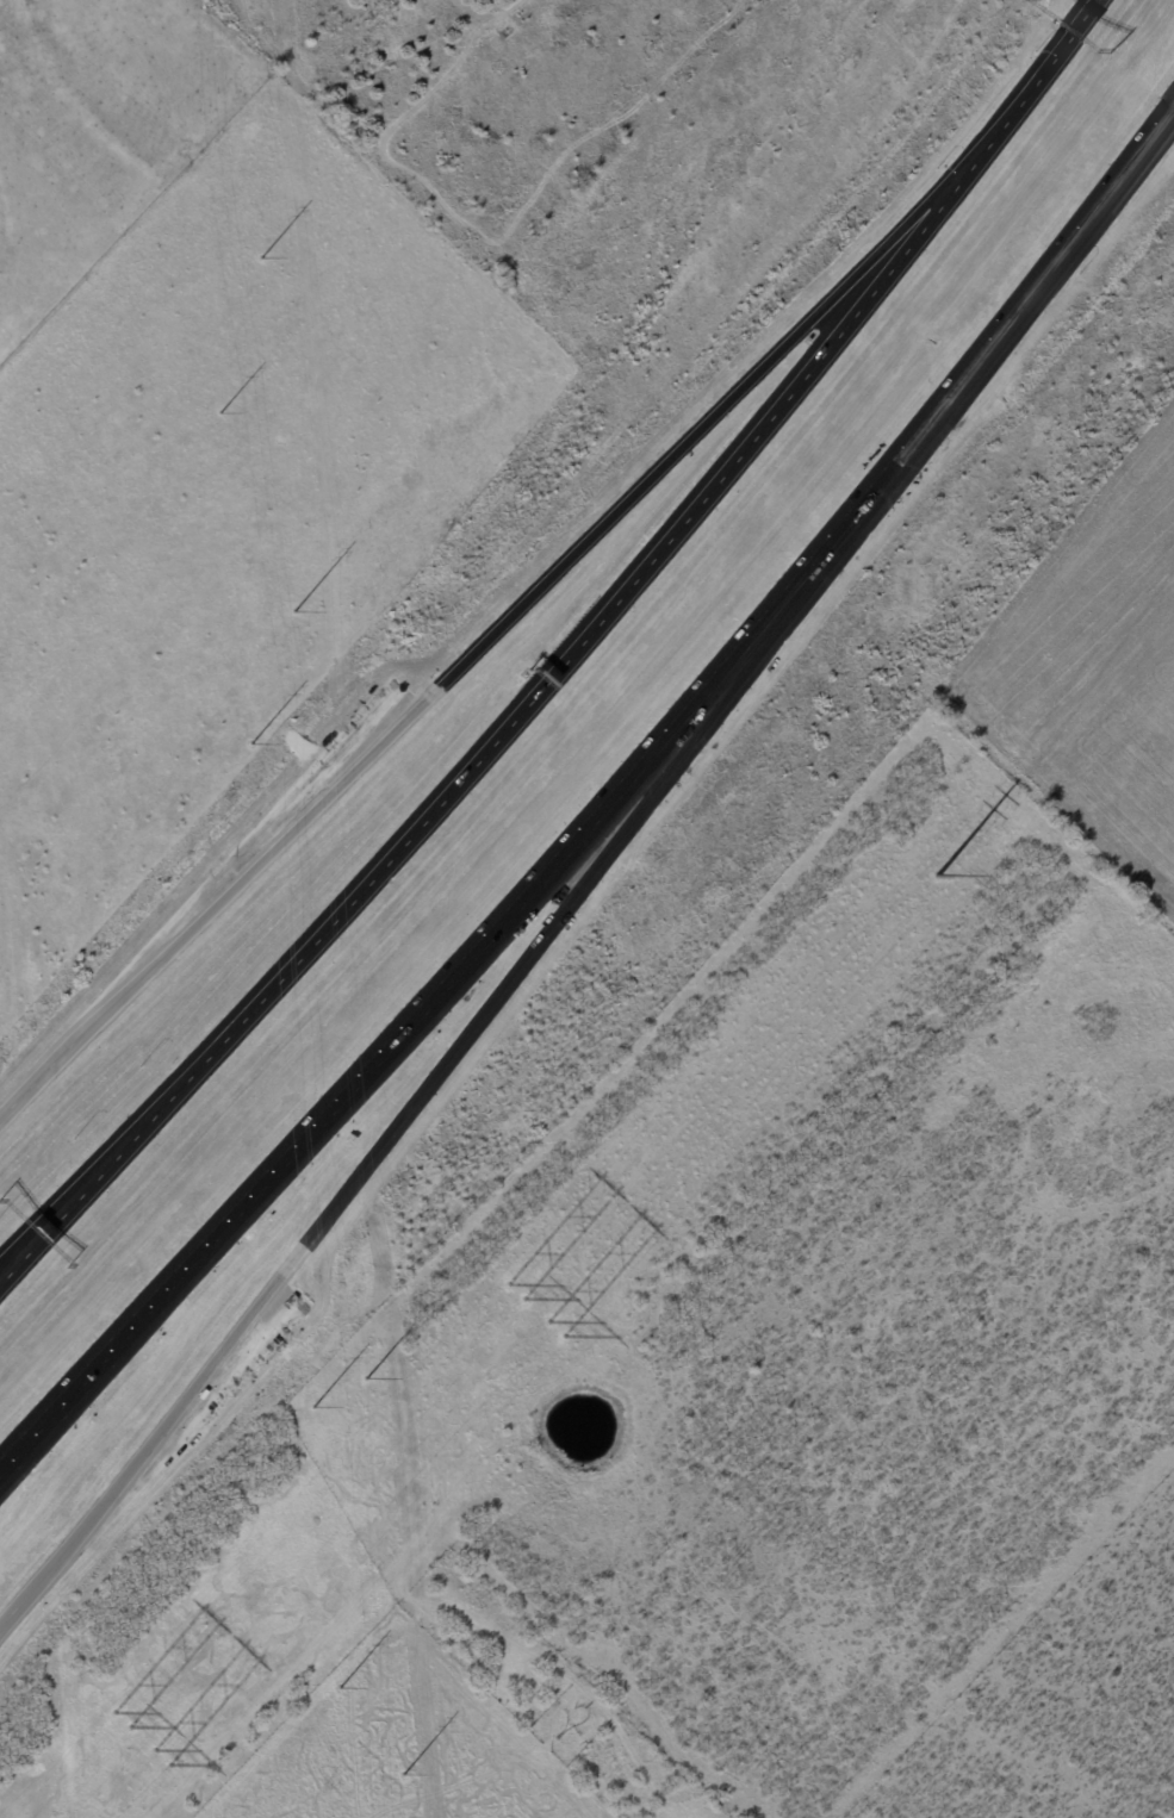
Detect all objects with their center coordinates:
road: (1033, 82)
road: (1013, 313)
road: (784, 592)
road: (484, 640)
road: (504, 734)
parking lot: (302, 789)
power tower: (933, 877)
road: (364, 1072)
road: (431, 1079)
road: (0, 1274)
road: (0, 1274)
power tower: (523, 1315)
power tower: (123, 1751)

